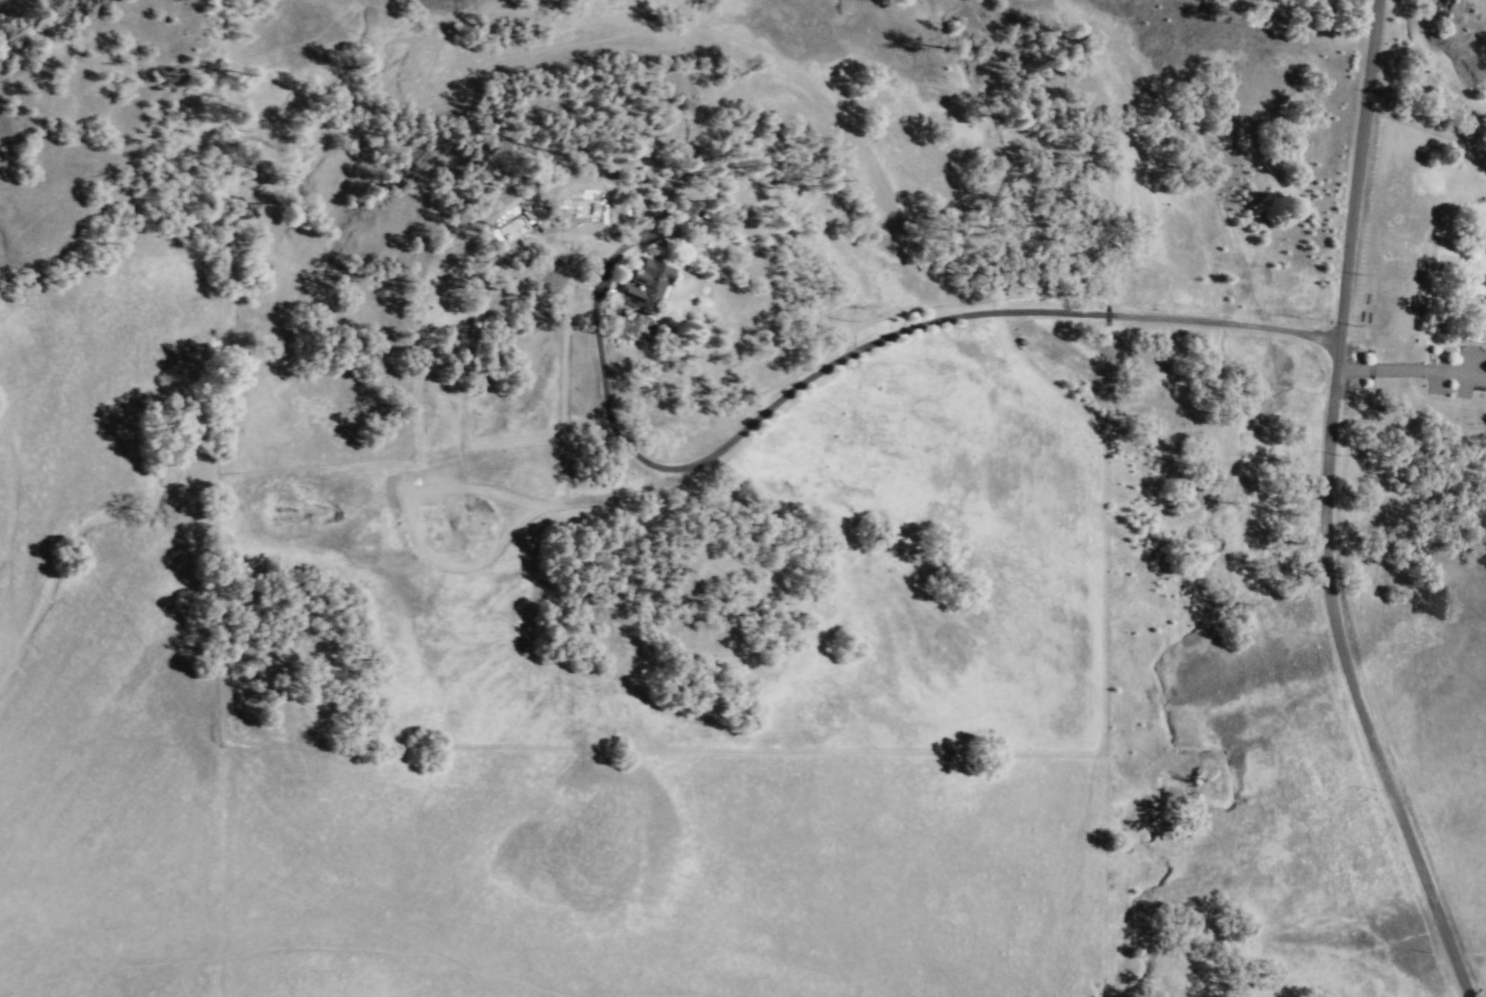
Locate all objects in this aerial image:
building: (649, 283)
road: (1406, 368)
road: (789, 390)
road: (16, 487)
road: (1324, 510)

